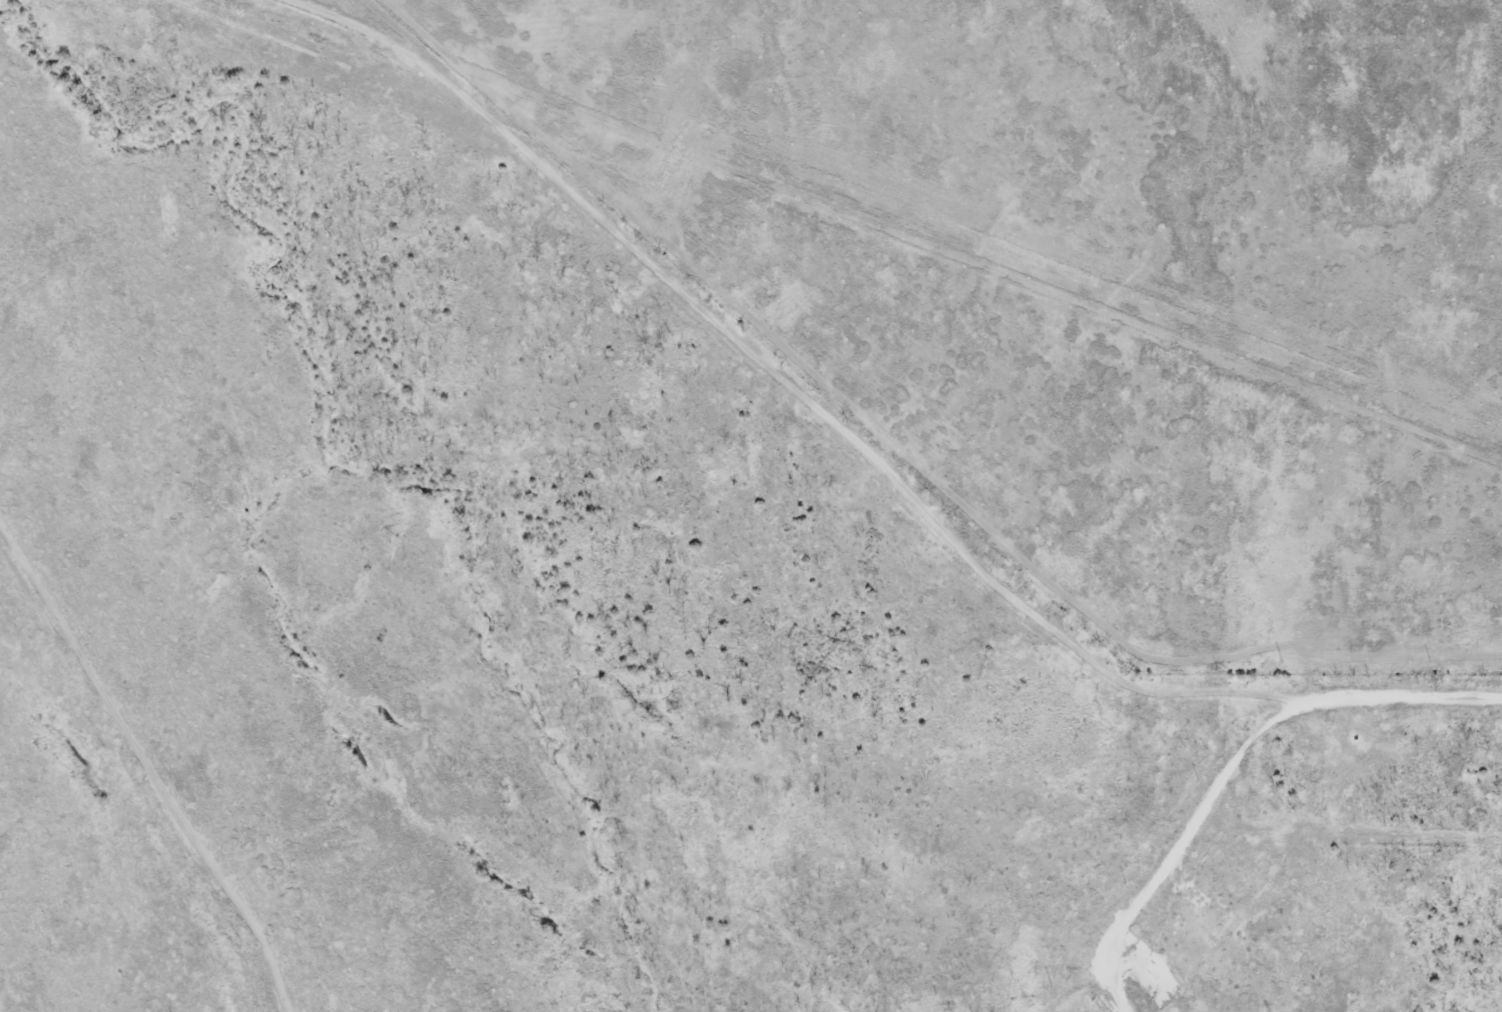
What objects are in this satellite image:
road: (1240, 768)

